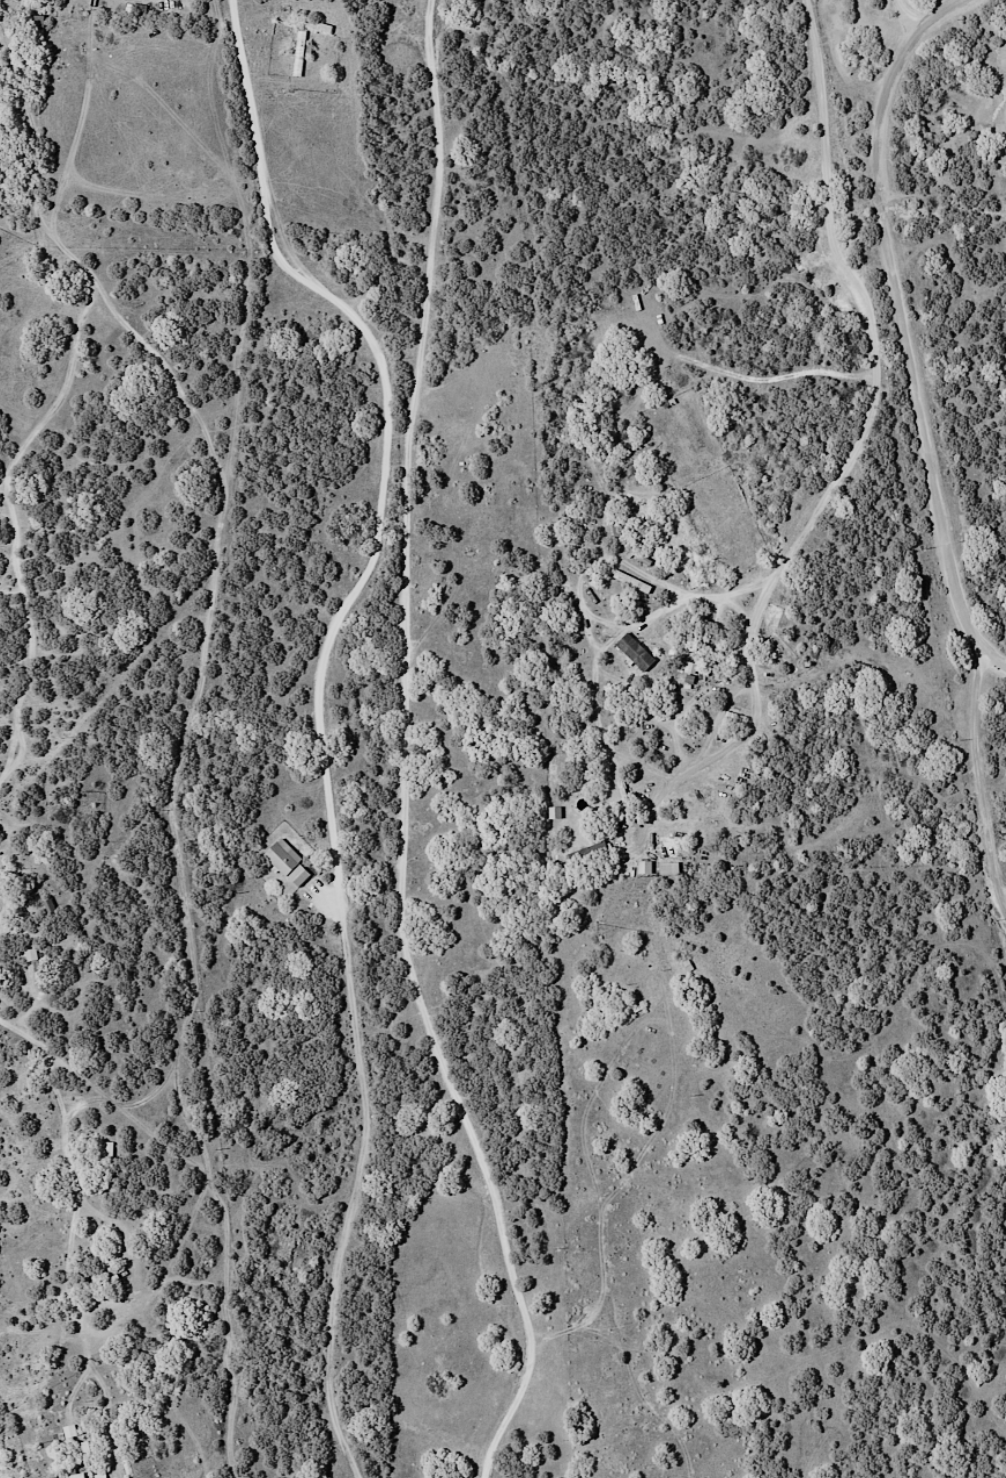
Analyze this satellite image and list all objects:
building: (299, 52)
road: (909, 324)
road: (385, 435)
road: (15, 465)
building: (630, 582)
building: (633, 652)
road: (605, 663)
building: (690, 669)
road: (405, 752)
road: (727, 754)
road: (976, 780)
building: (587, 856)
building: (286, 863)
building: (667, 869)
building: (48, 907)
building: (30, 956)
building: (106, 1160)
road: (77, 1269)
road: (574, 1326)
building: (58, 1436)
building: (85, 1448)
building: (73, 1476)

